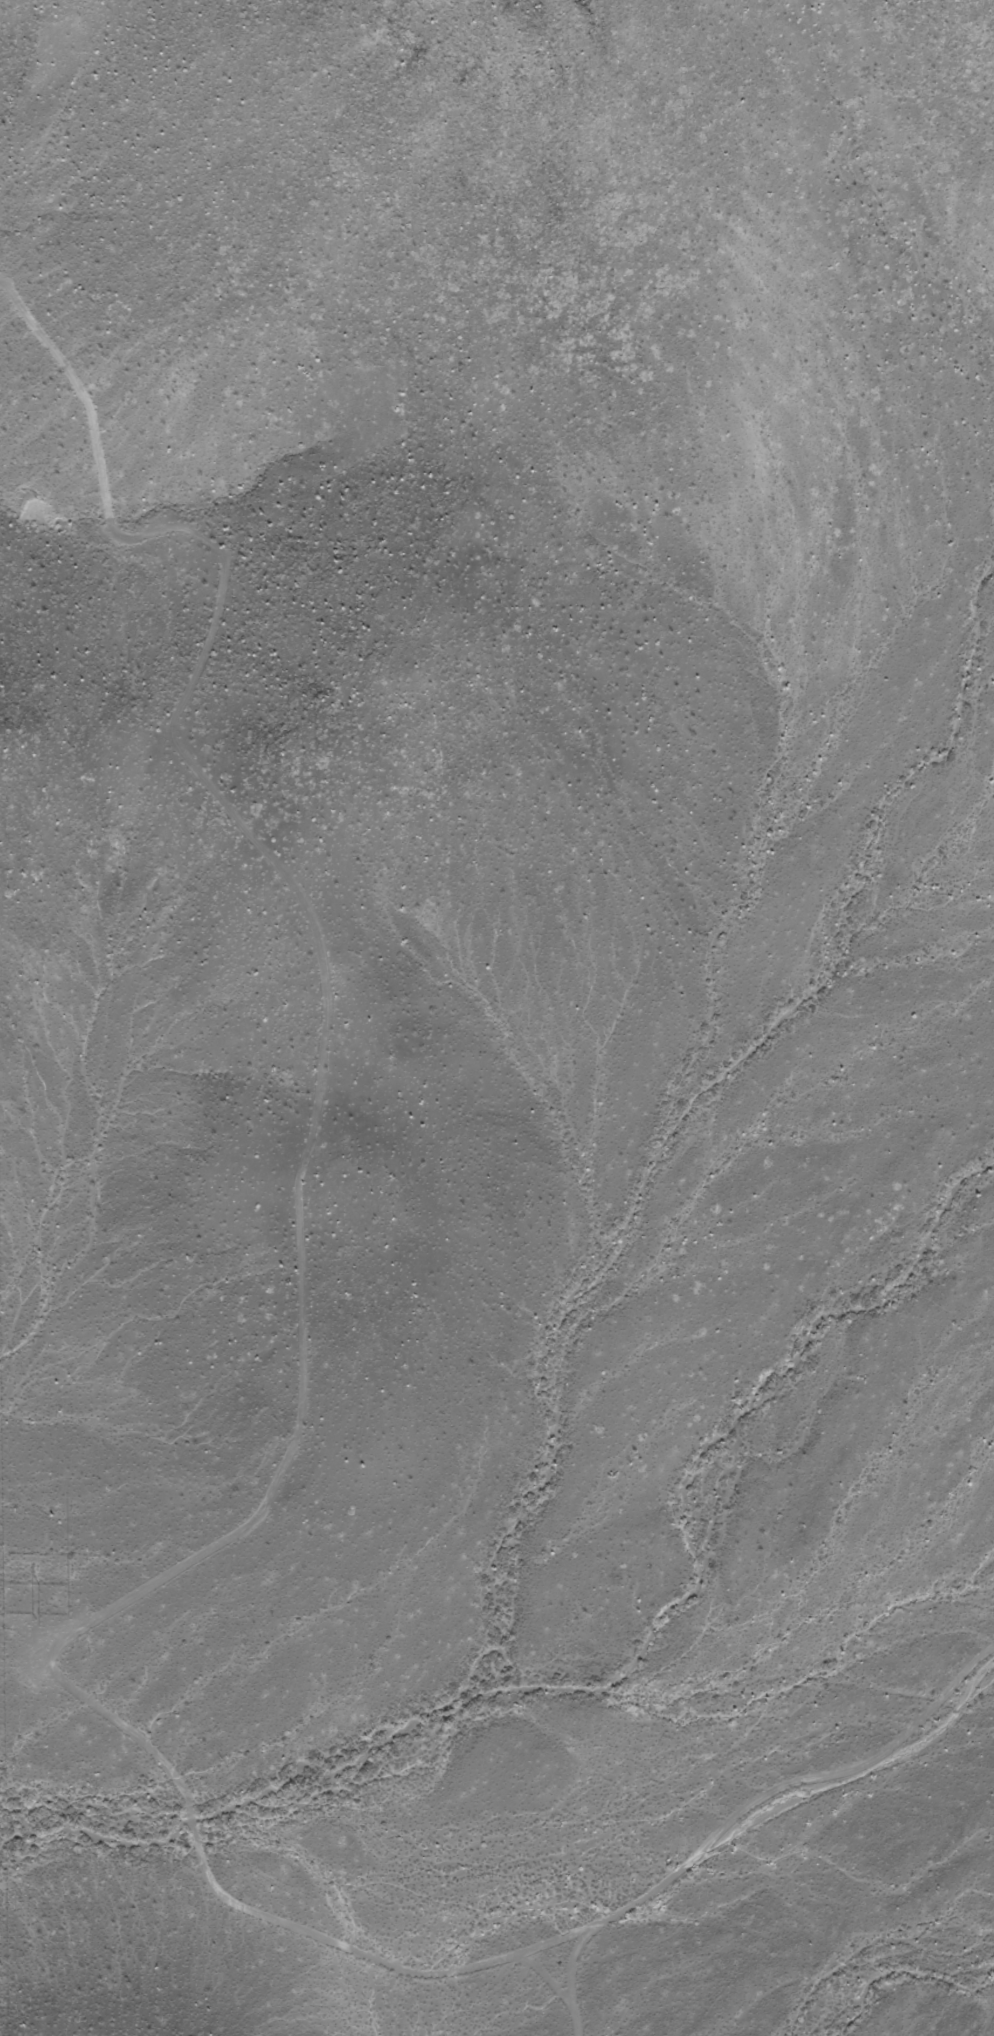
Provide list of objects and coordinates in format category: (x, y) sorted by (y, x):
road: (728, 1836)
road: (180, 1861)
road: (560, 1977)
road: (492, 2004)

